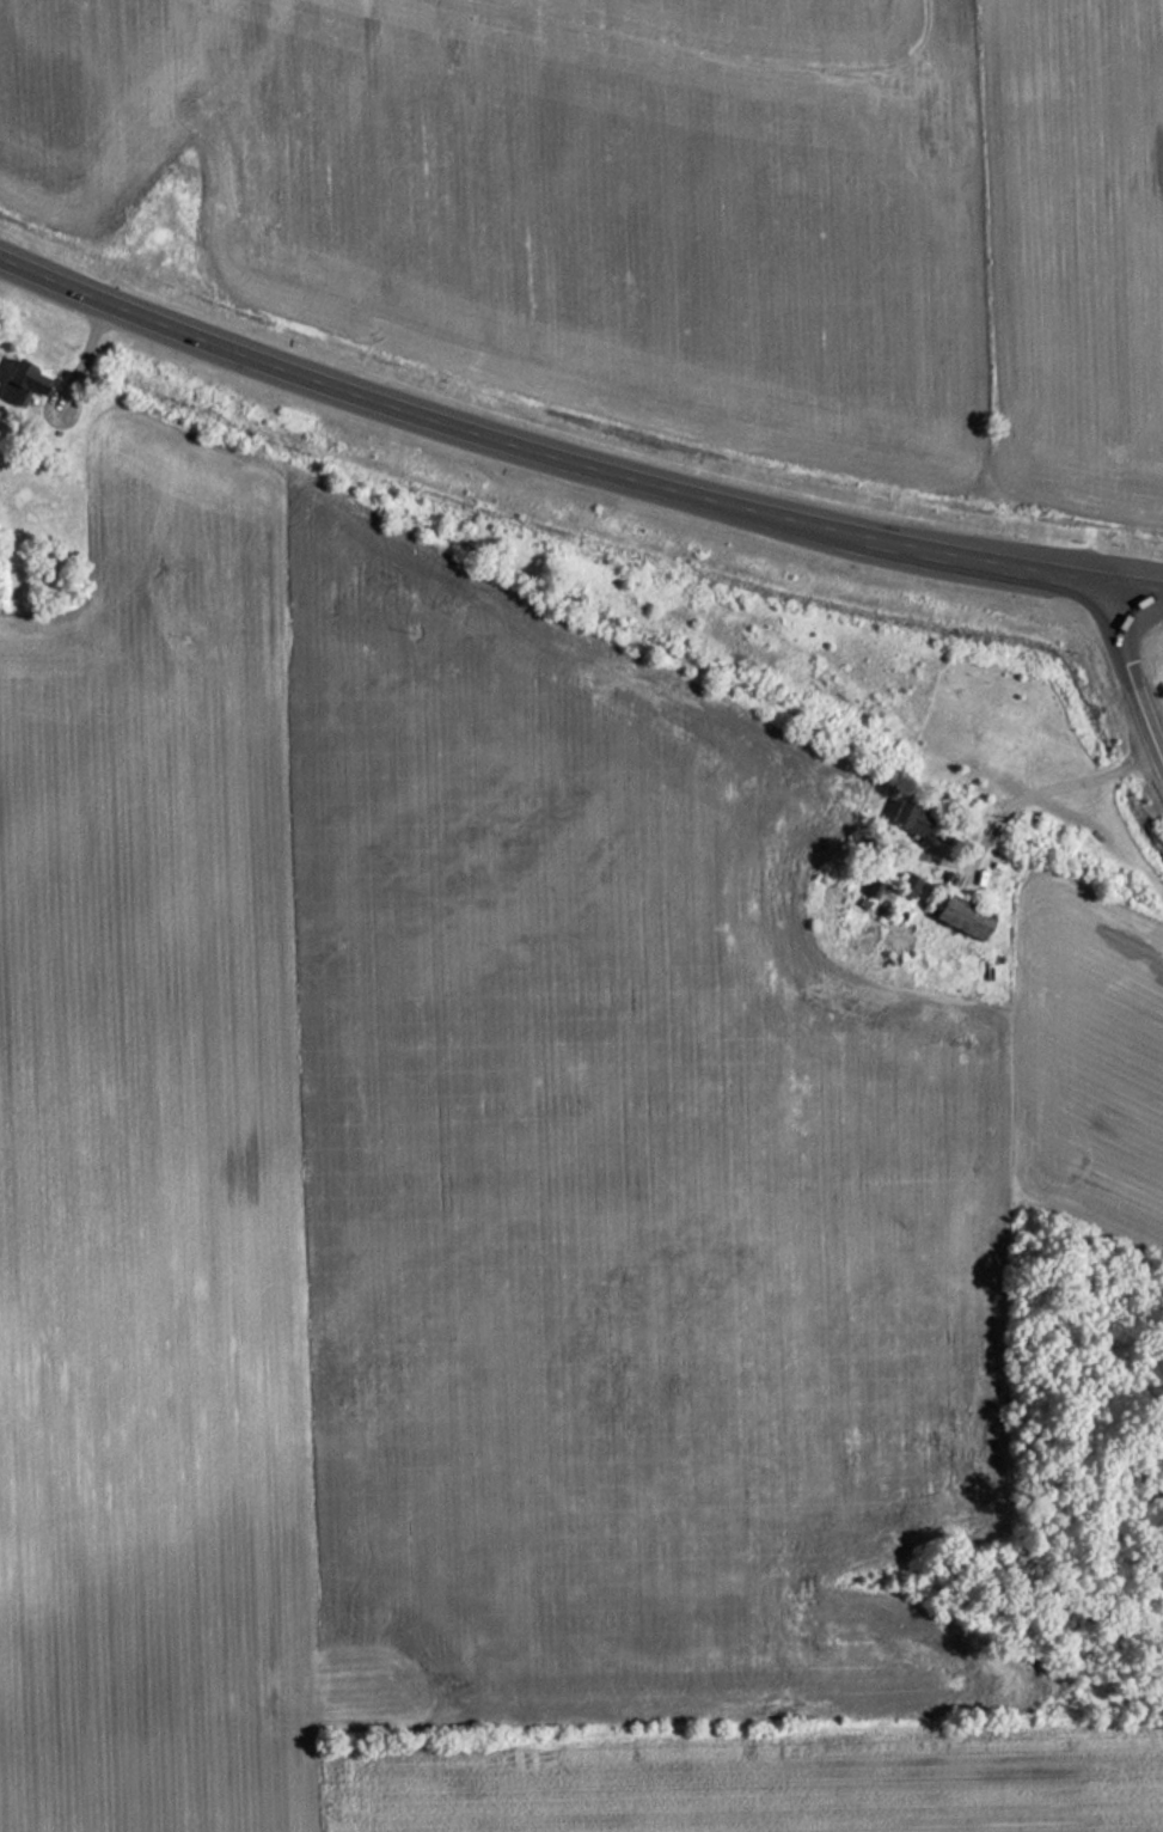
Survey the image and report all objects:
building: (23, 383)
road: (568, 462)
road: (1133, 671)
road: (1055, 787)
building: (911, 818)
building: (913, 887)
building: (966, 918)

